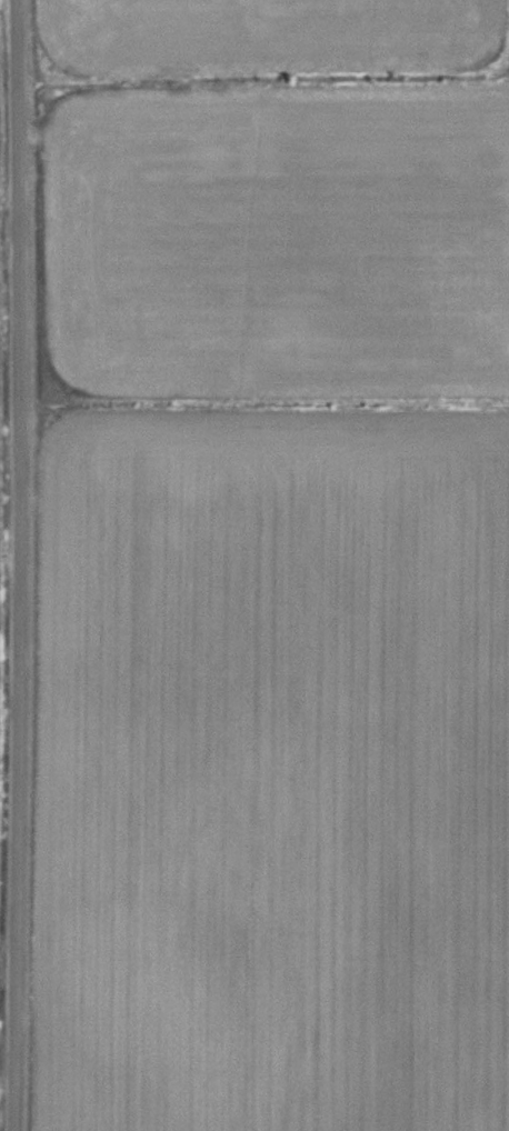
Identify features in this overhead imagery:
road: (13, 564)

